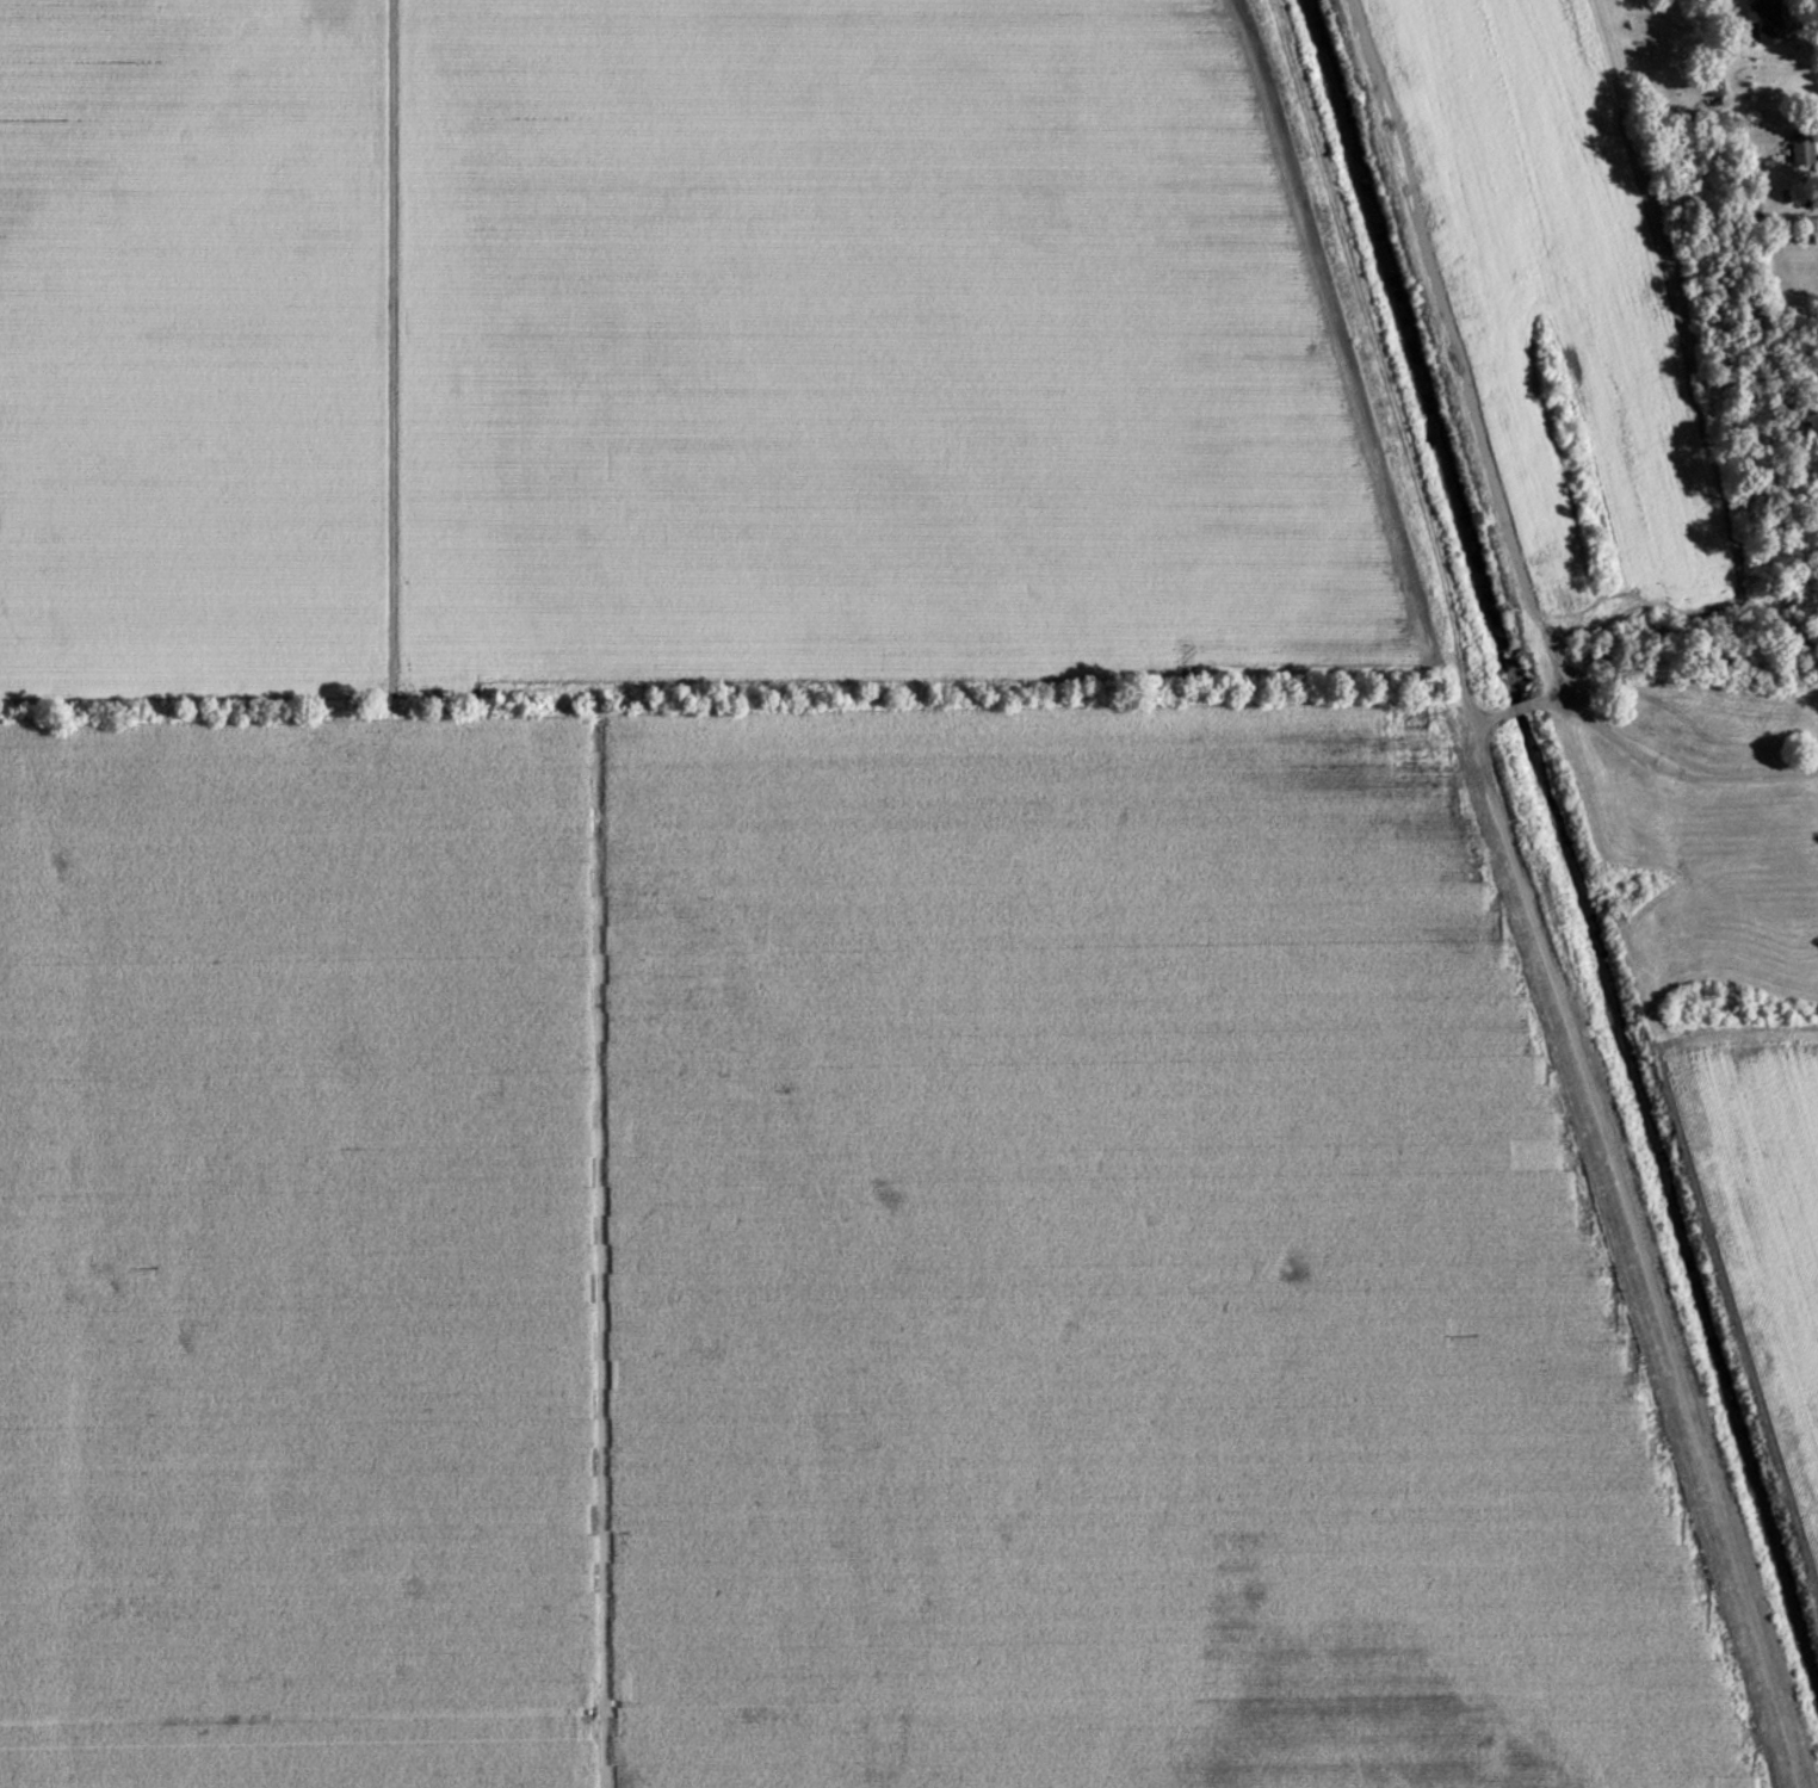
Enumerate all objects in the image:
building: (1770, 20)
building: (1806, 148)
road: (1619, 741)

